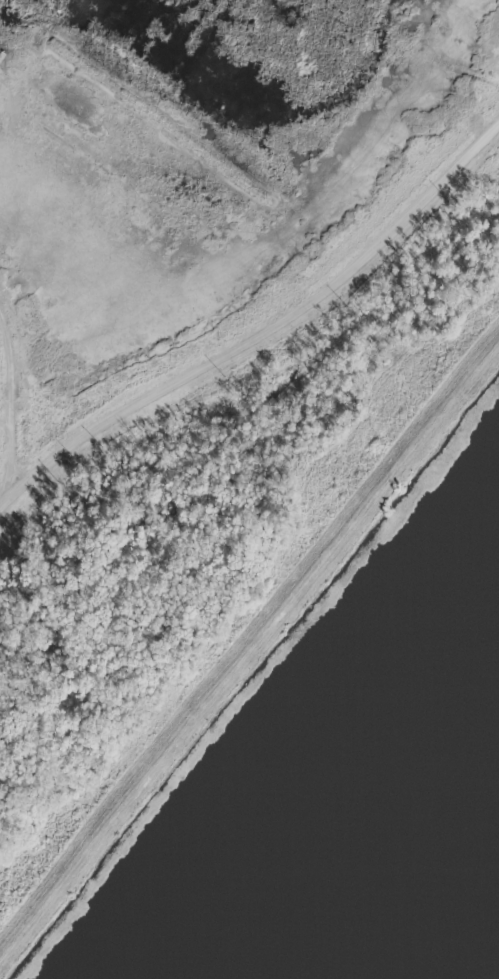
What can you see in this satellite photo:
road: (264, 334)
road: (7, 462)
road: (249, 671)

